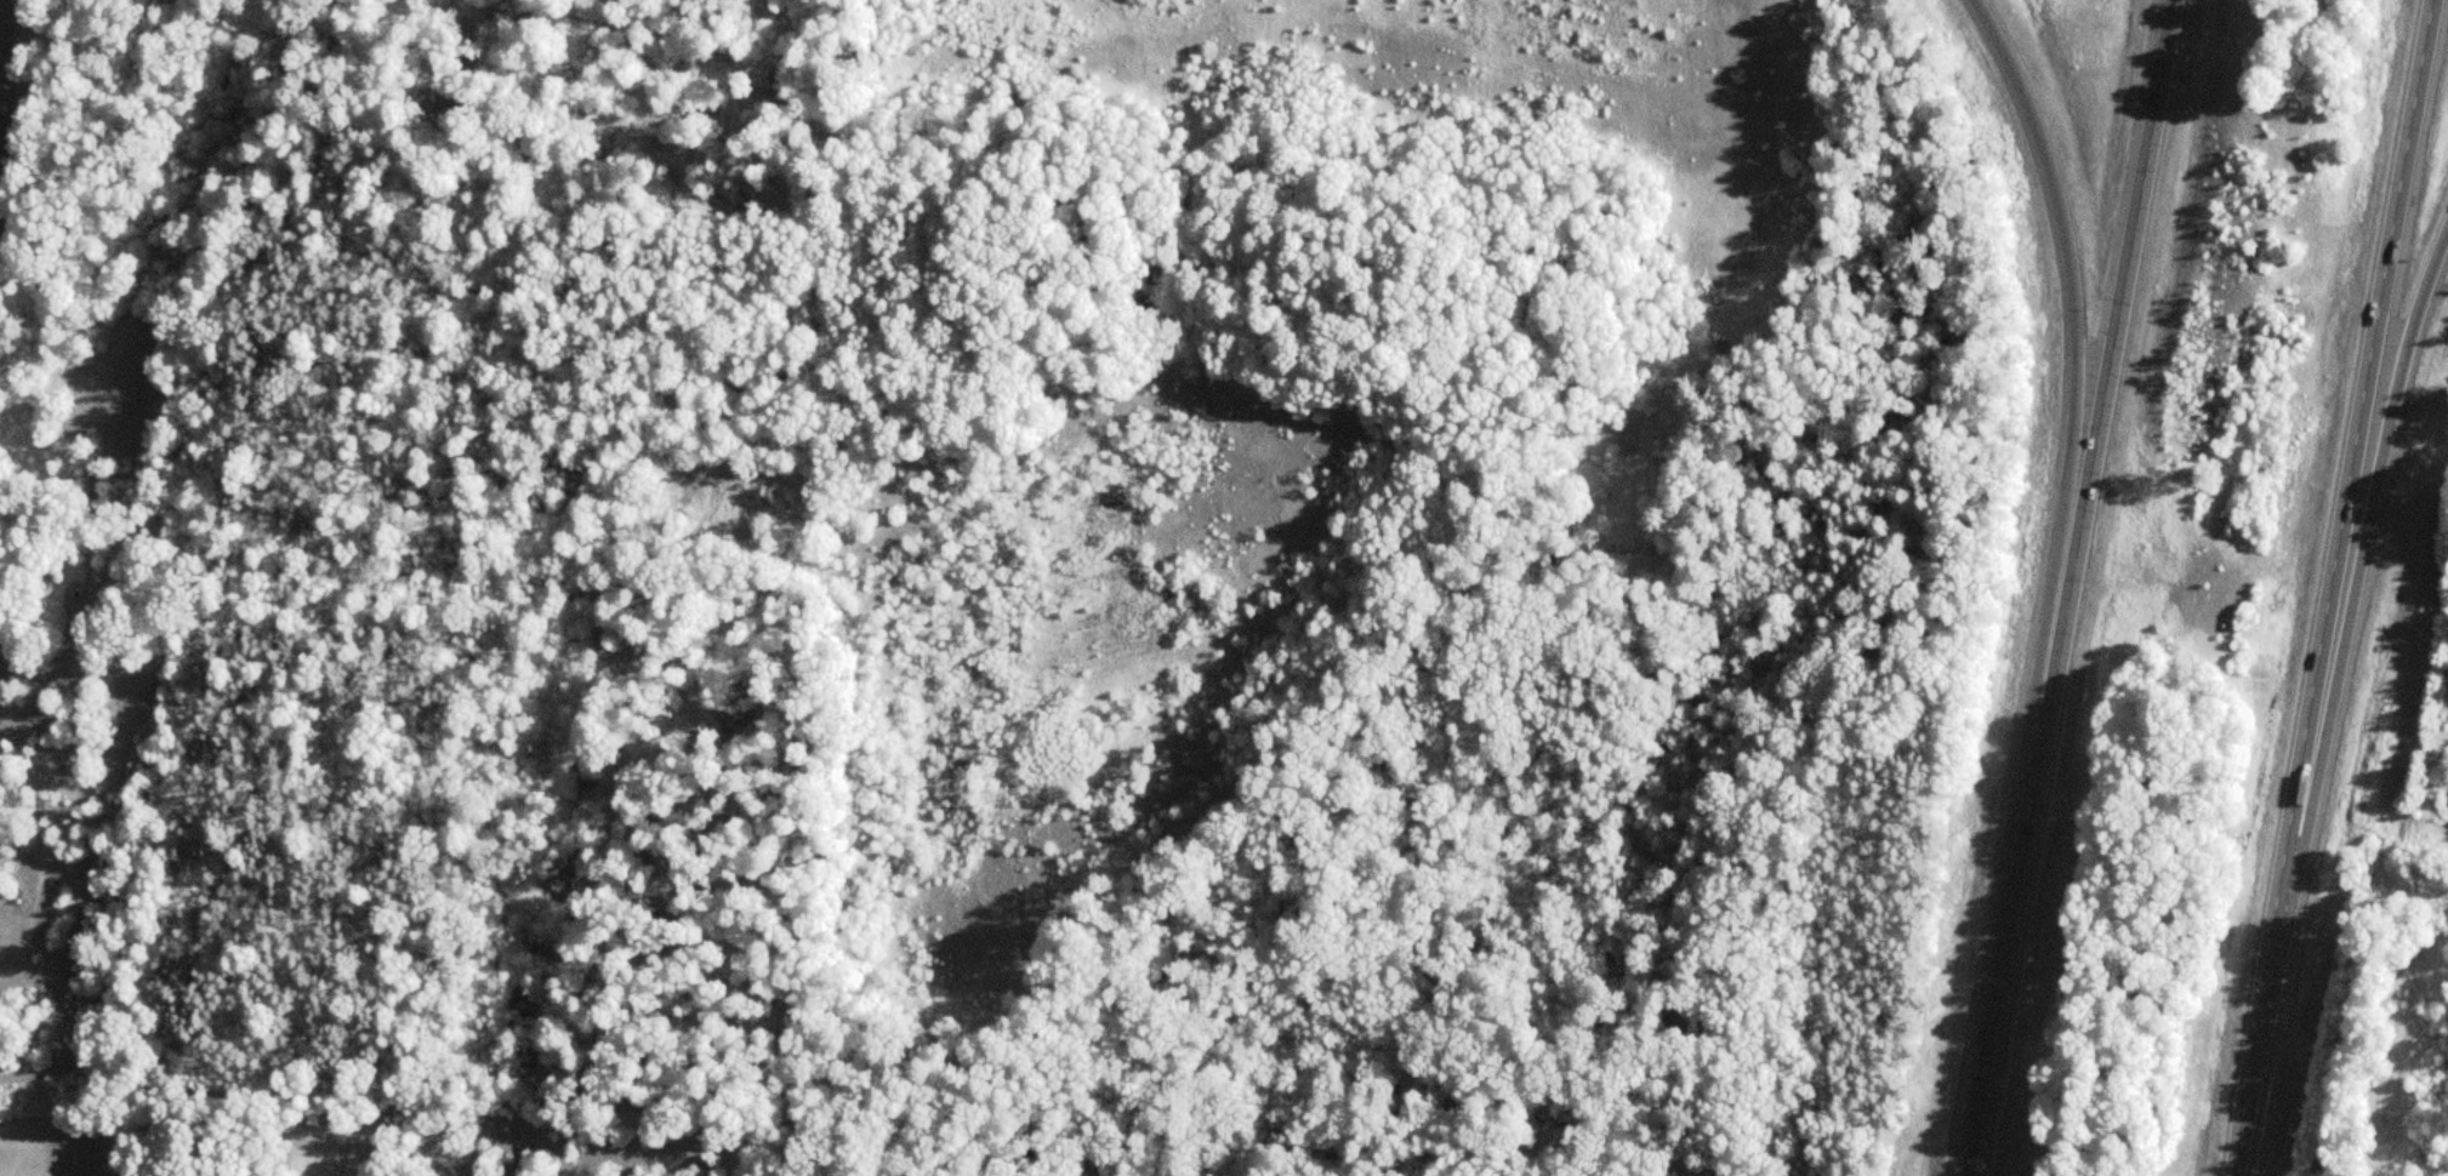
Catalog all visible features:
road: (2067, 457)
road: (2355, 567)
road: (2067, 587)
road: (2323, 587)

